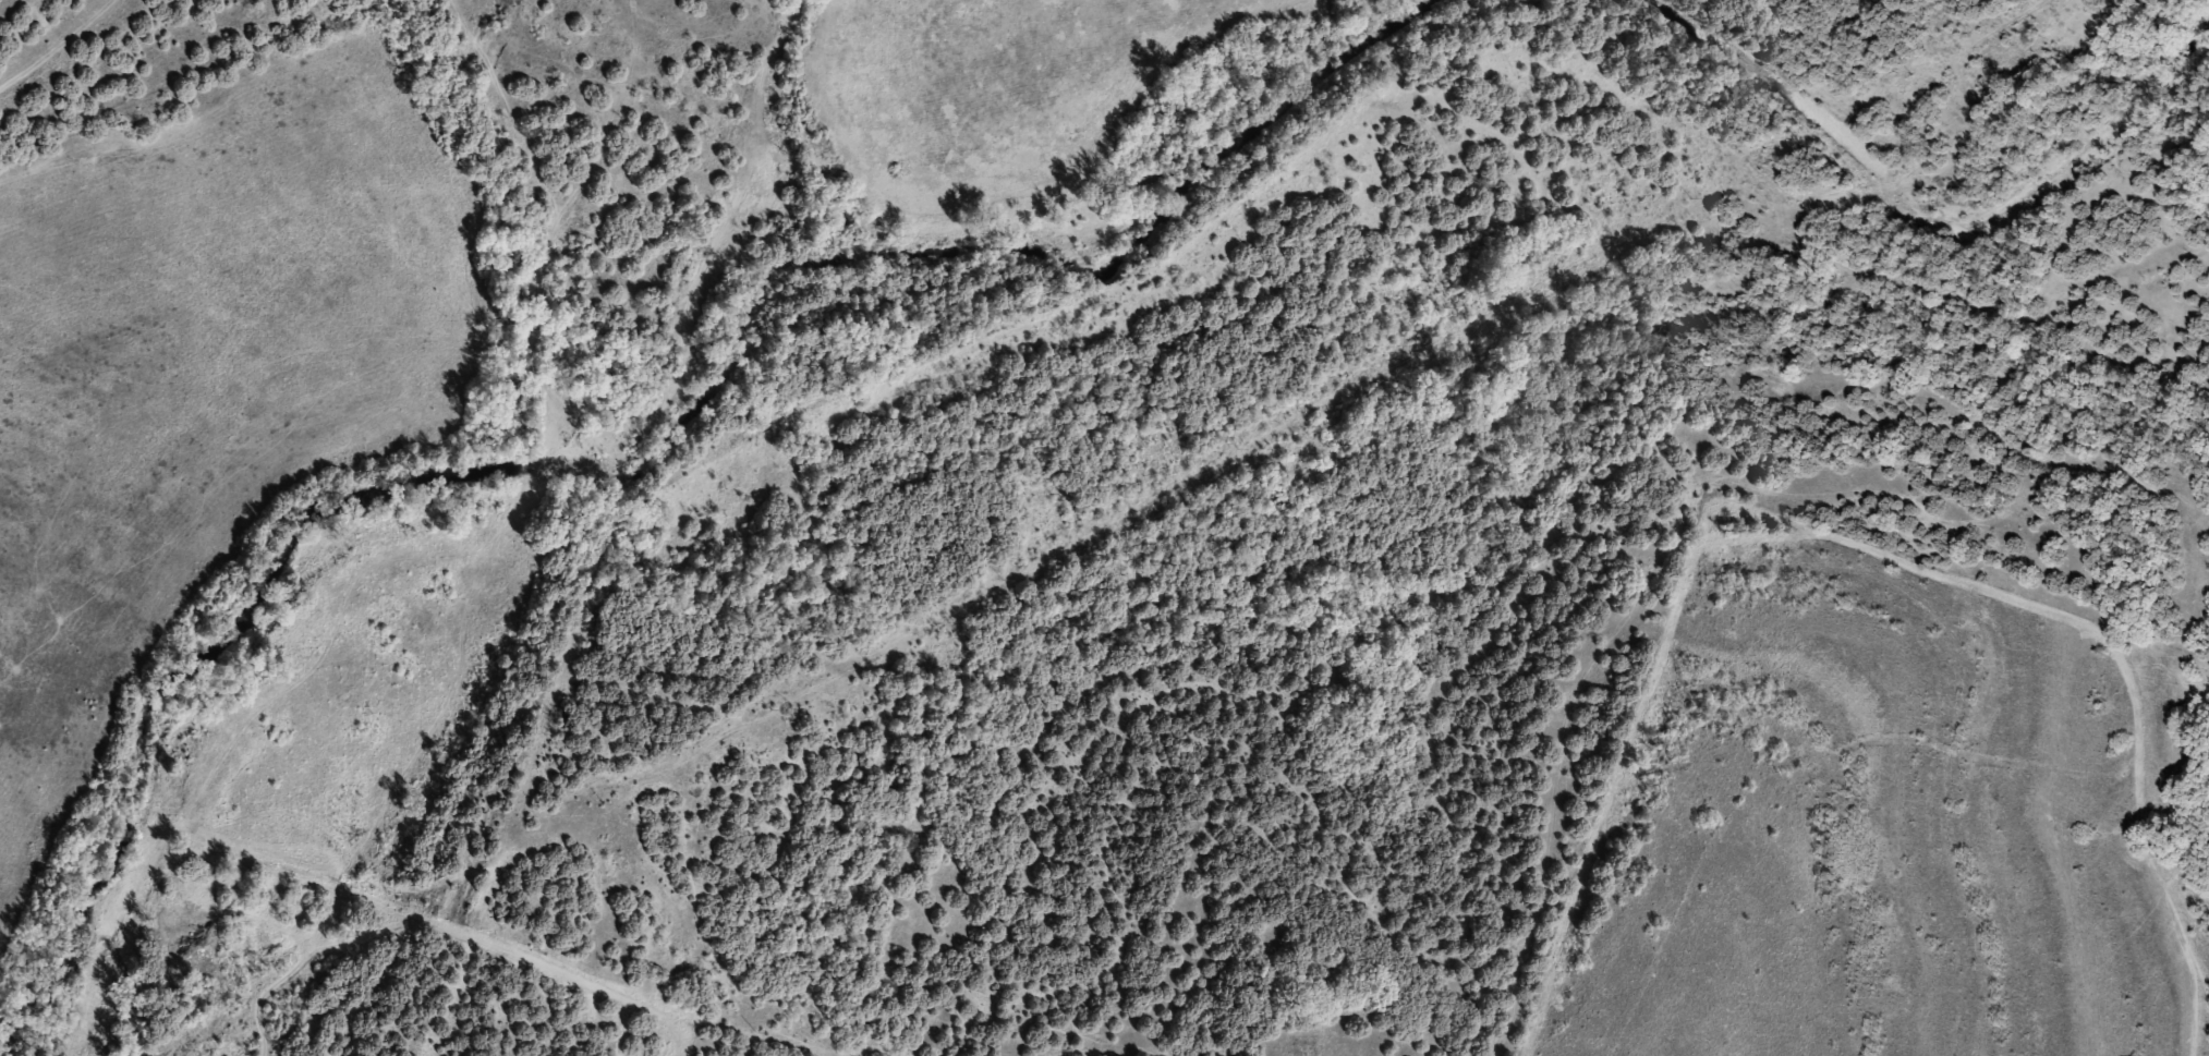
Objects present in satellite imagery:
road: (33, 54)

